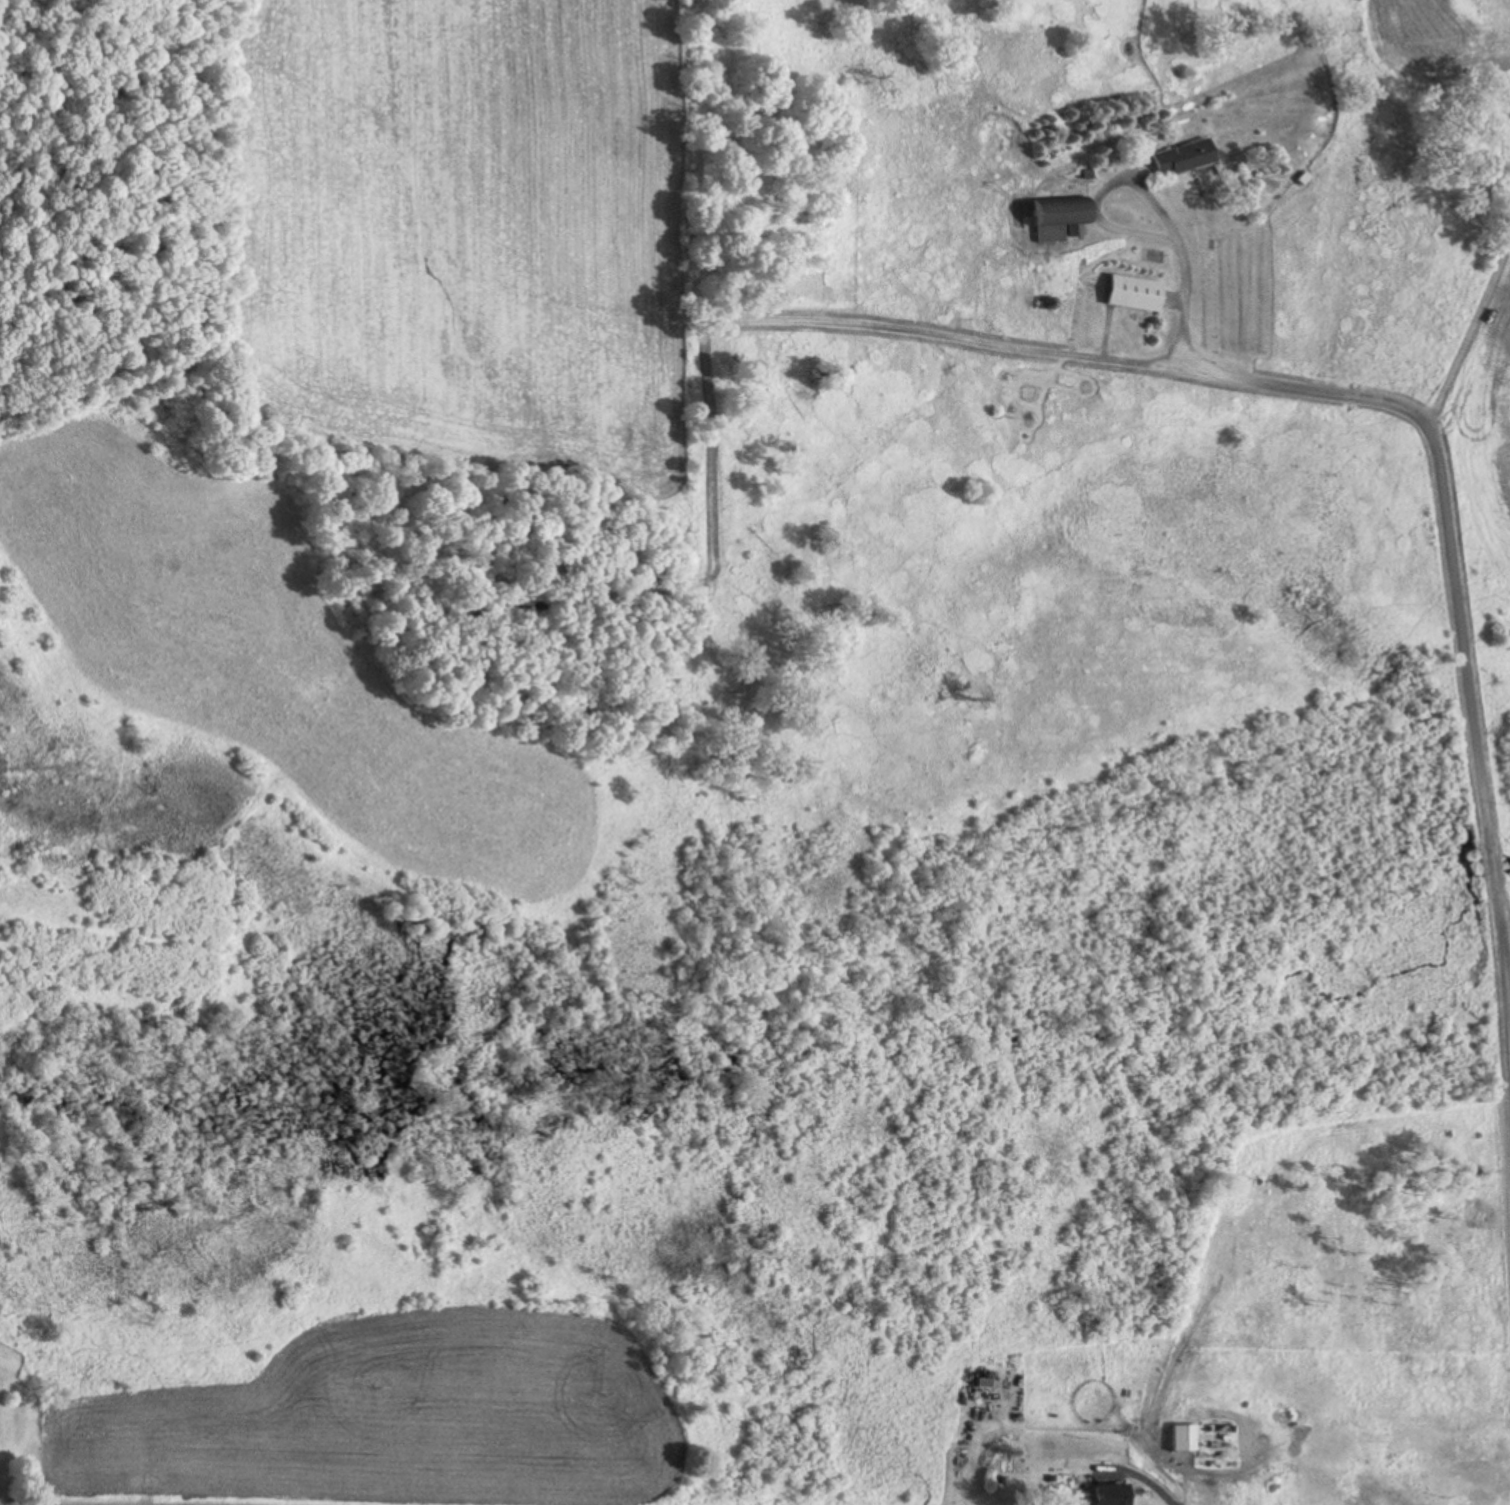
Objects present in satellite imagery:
crop: (1439, 33)
building: (1177, 156)
road: (1159, 192)
building: (1053, 218)
crop: (475, 232)
building: (1130, 292)
crop: (1478, 426)
road: (1457, 609)
crop: (269, 653)
crop: (386, 1419)
building: (1184, 1437)
road: (1224, 1467)
building: (1106, 1494)

